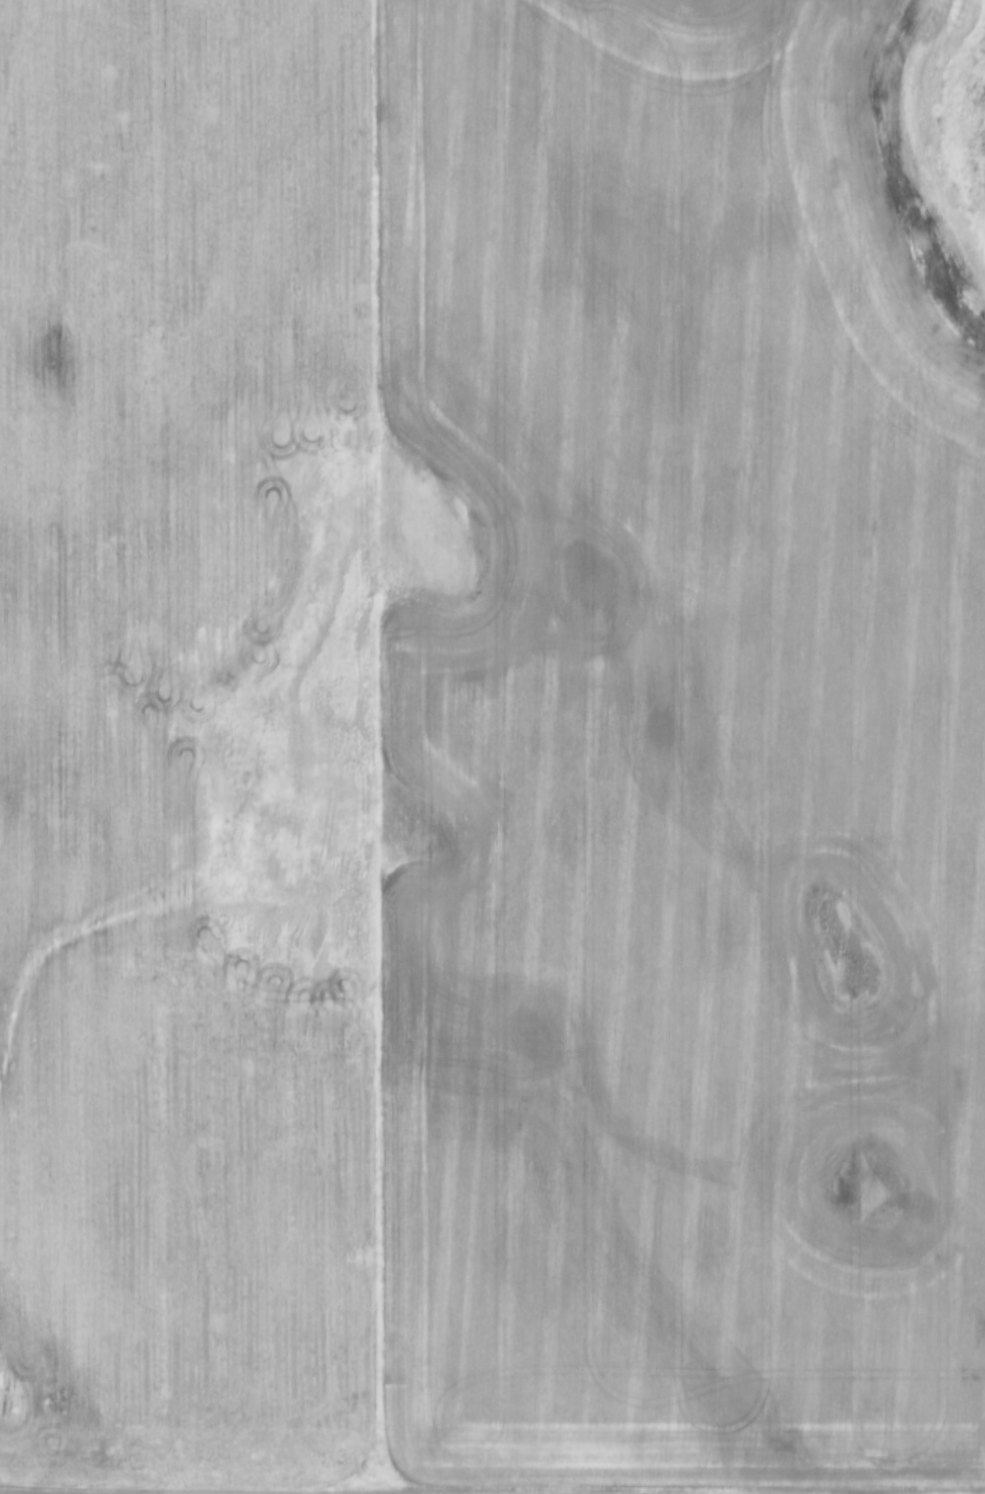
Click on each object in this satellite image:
road: (492, 1491)

